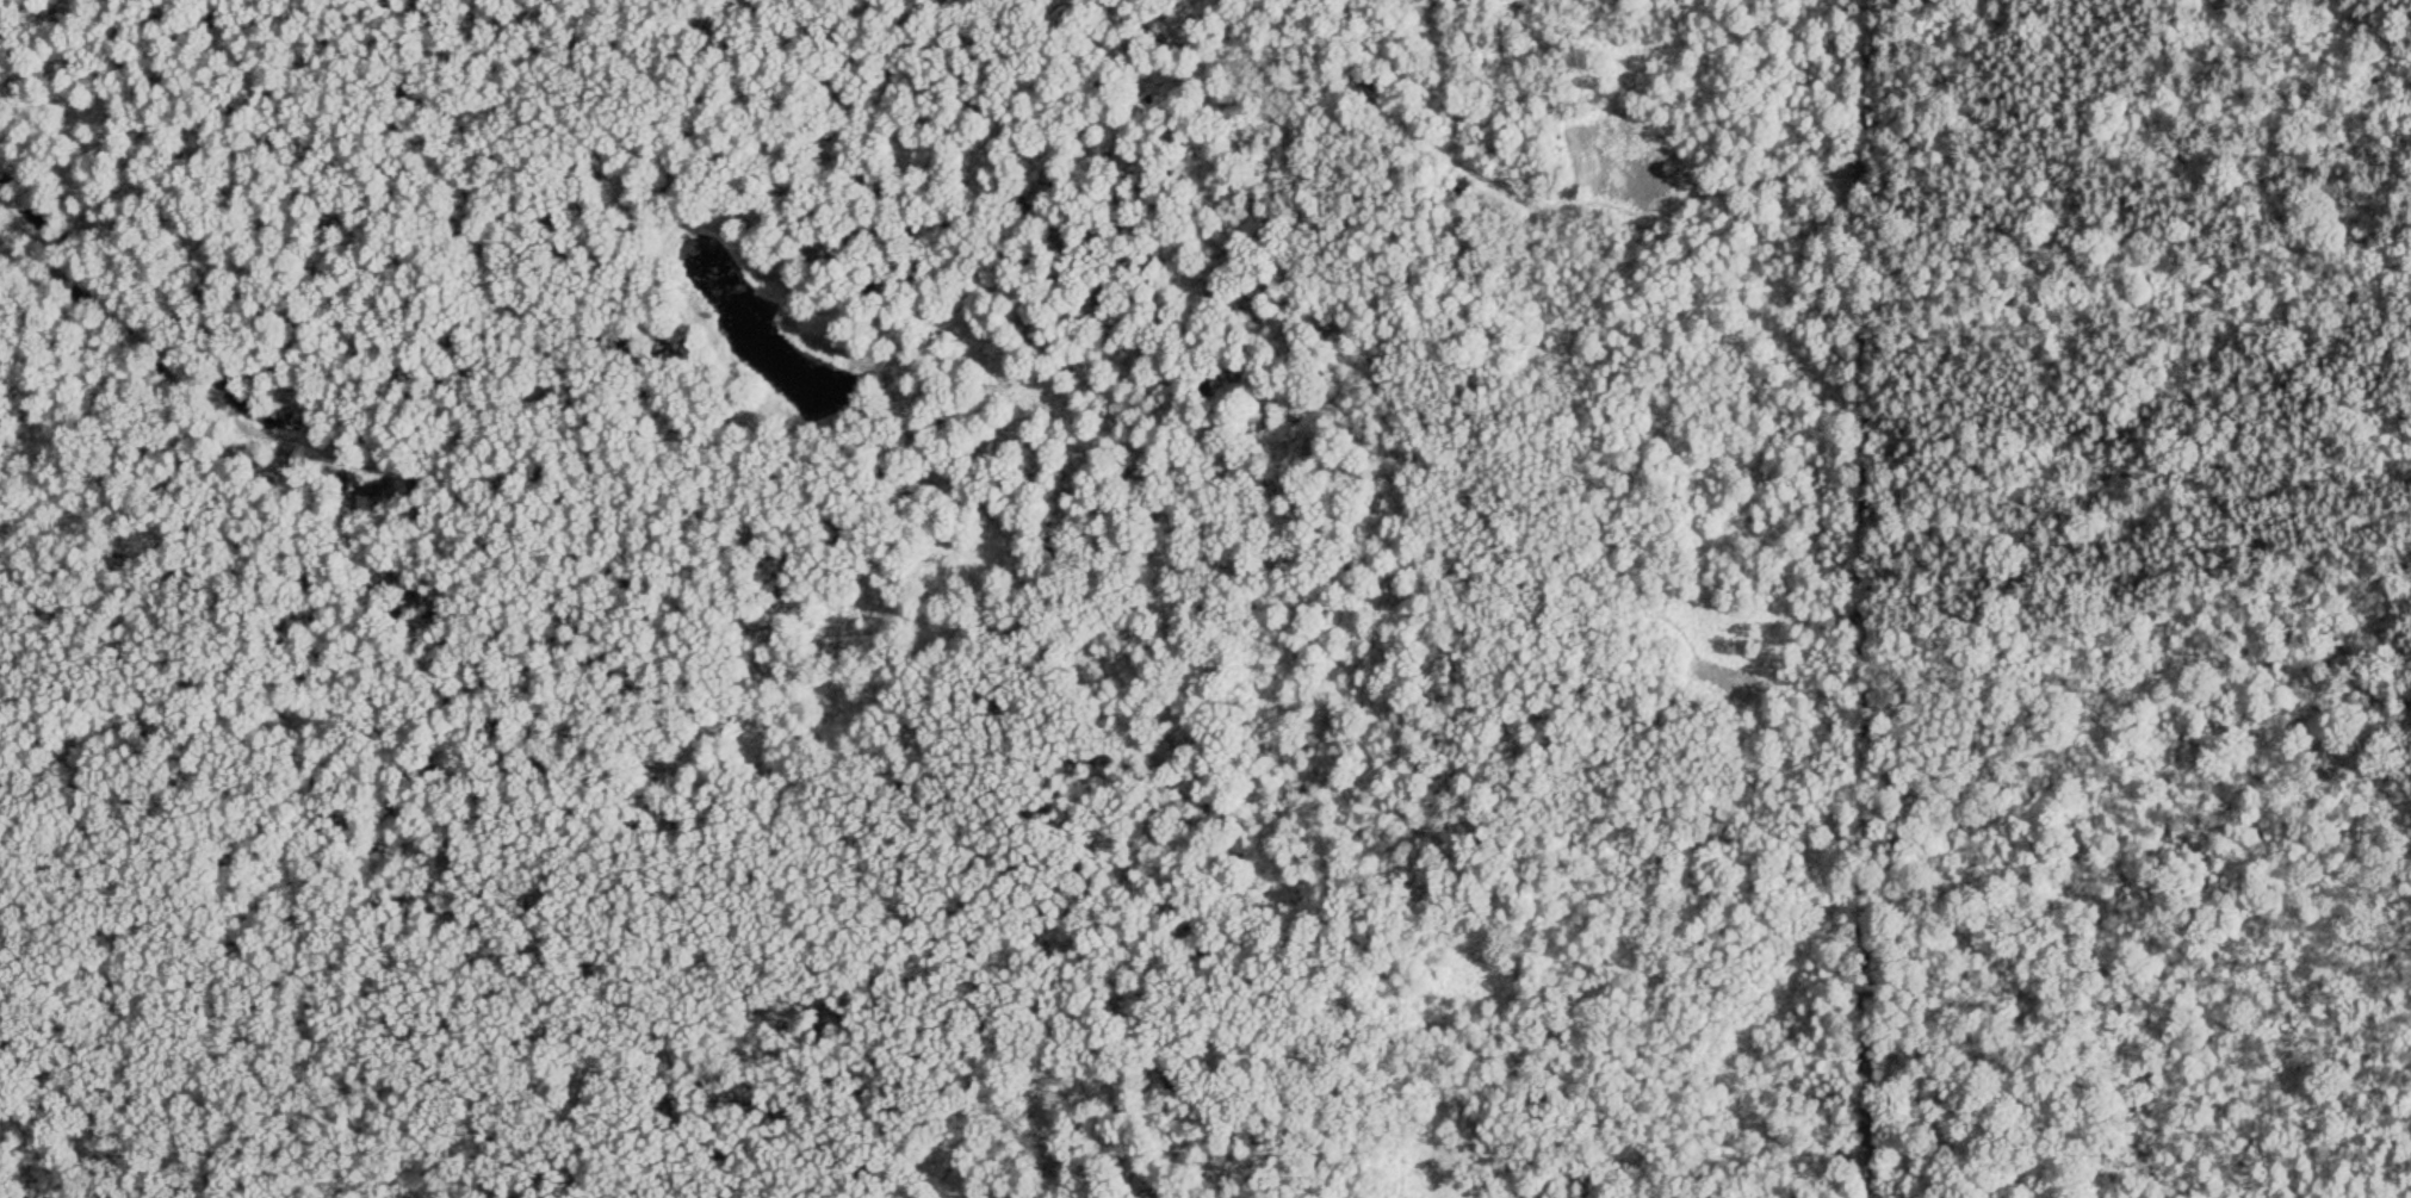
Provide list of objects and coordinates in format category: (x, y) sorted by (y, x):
road: (1854, 598)

